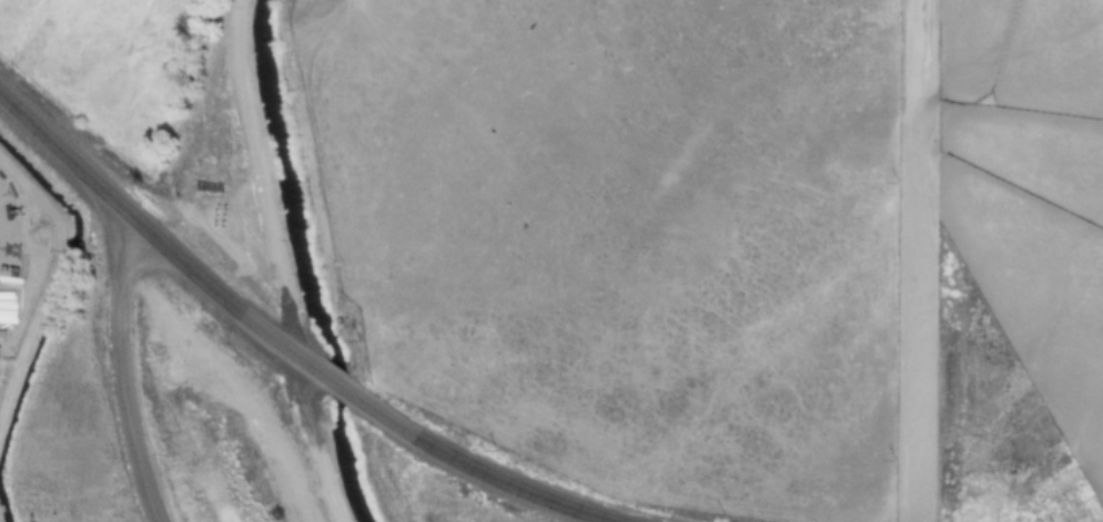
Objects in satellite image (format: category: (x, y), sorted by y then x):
crop: (105, 60)
road: (315, 201)
road: (2, 213)
road: (155, 239)
road: (908, 260)
road: (281, 263)
road: (122, 376)
road: (334, 385)
road: (229, 389)
road: (473, 468)

